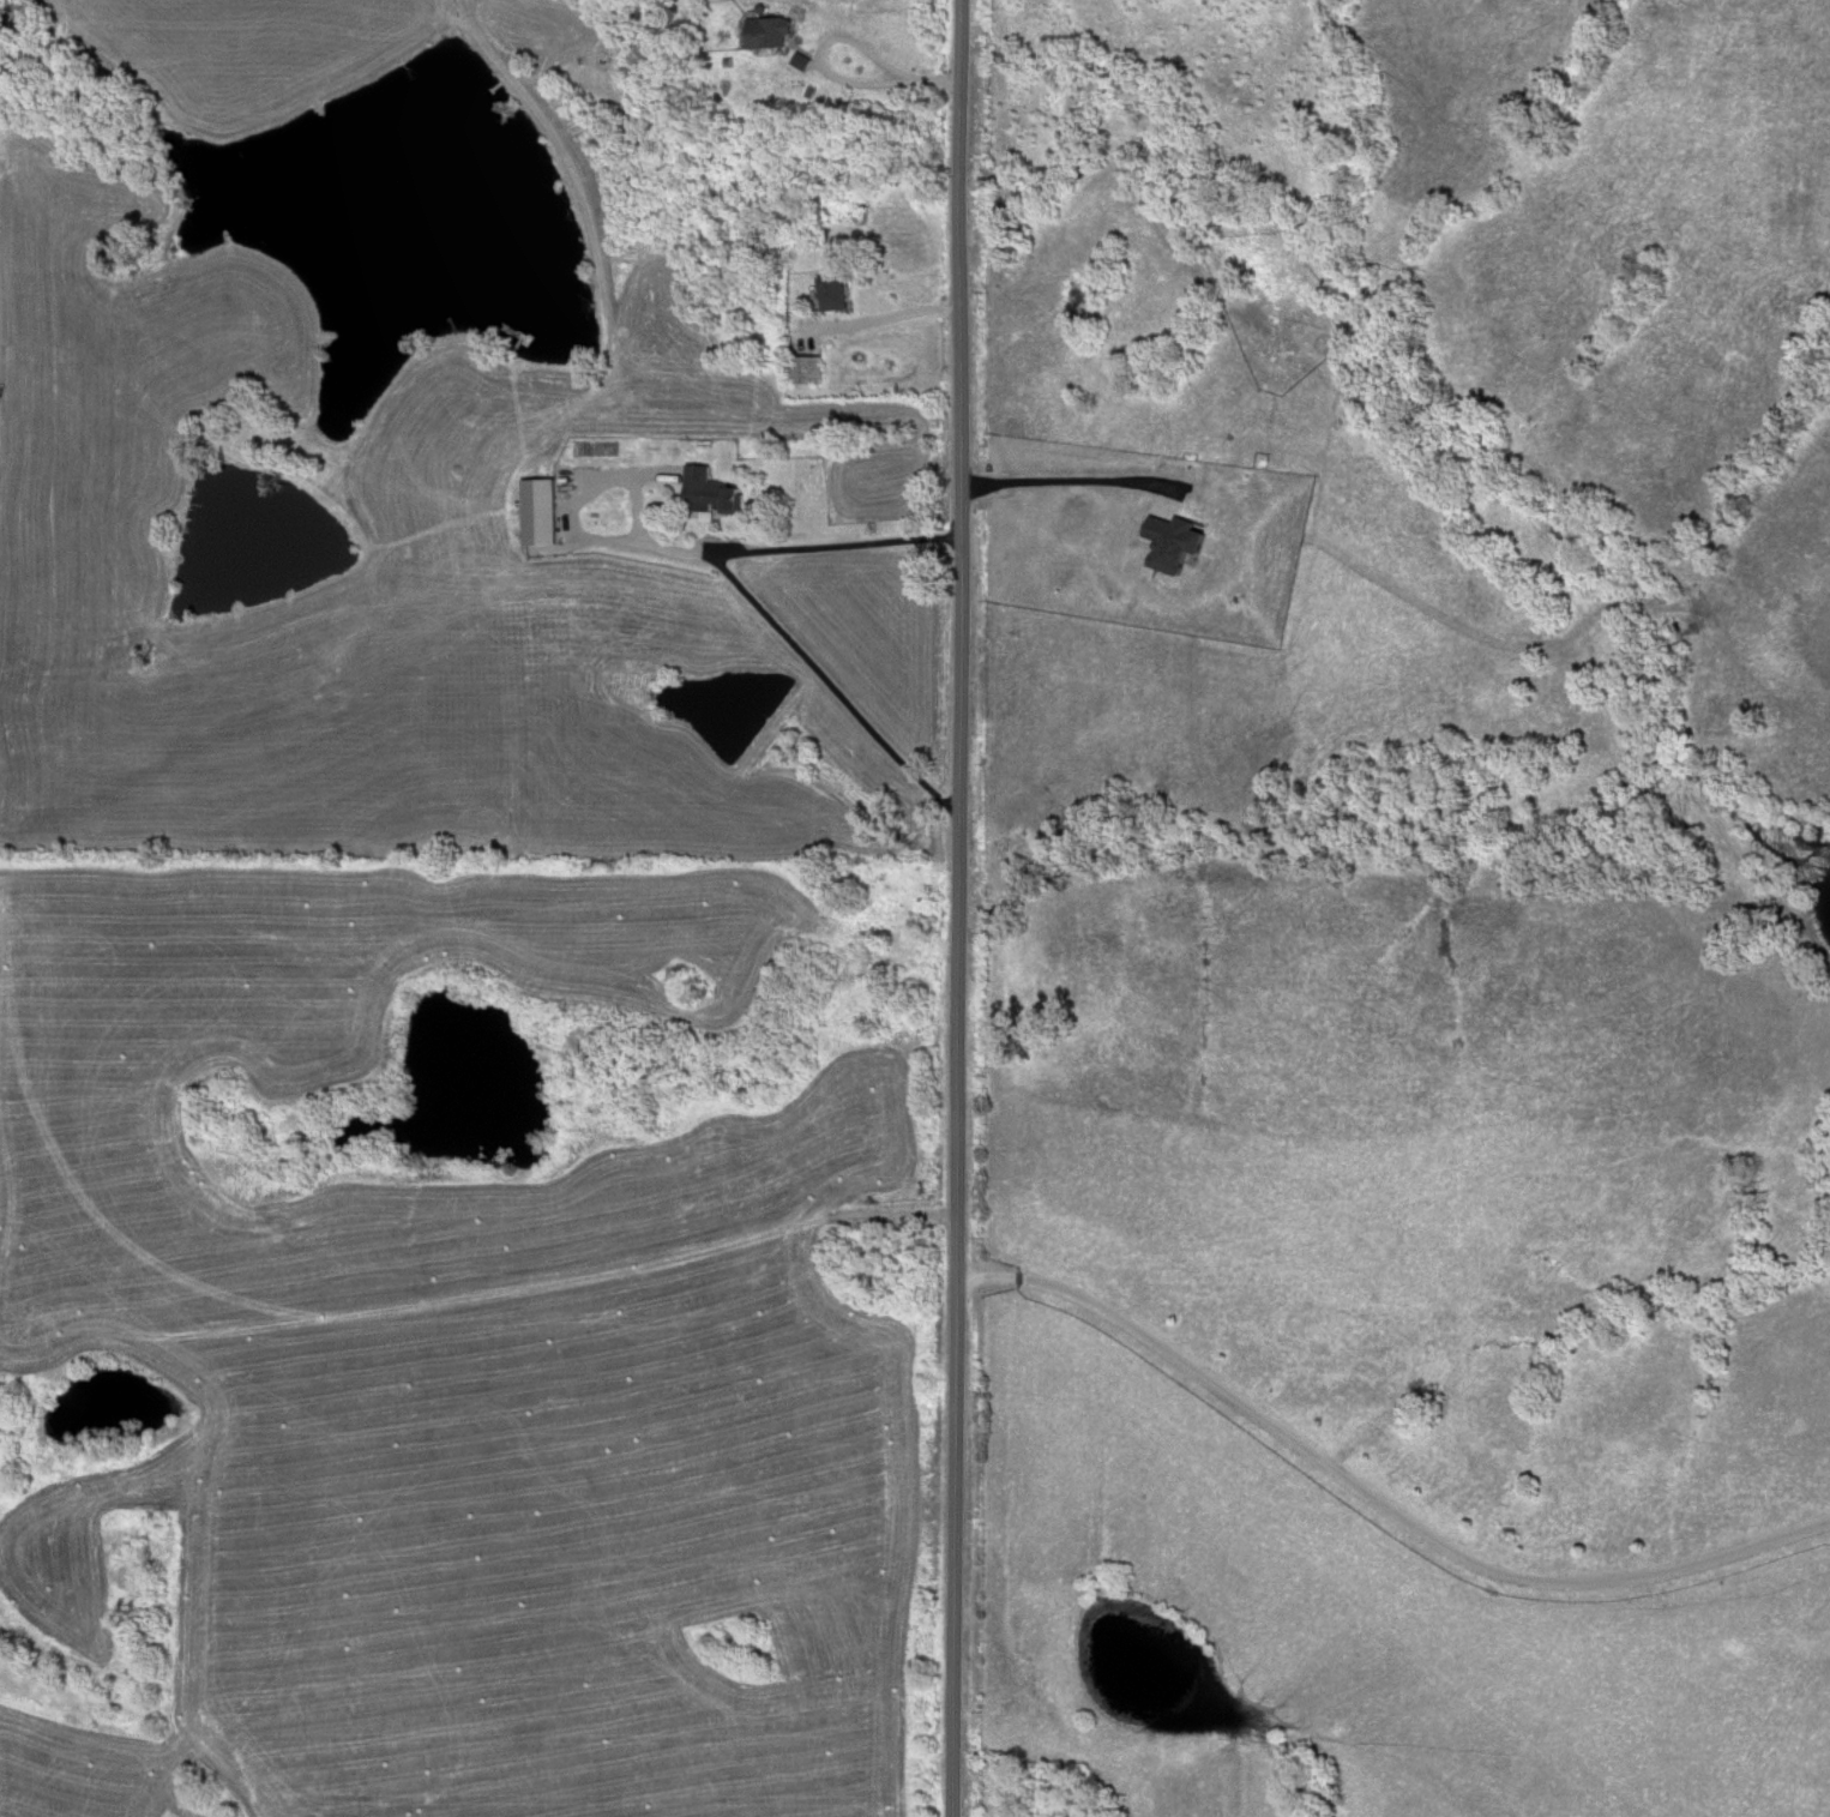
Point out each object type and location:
building: (765, 36)
road: (830, 76)
building: (833, 294)
road: (887, 317)
building: (803, 371)
road: (1068, 479)
building: (559, 488)
building: (708, 493)
road: (572, 524)
road: (746, 597)
road: (962, 908)
road: (1377, 1499)
road: (1612, 1797)

